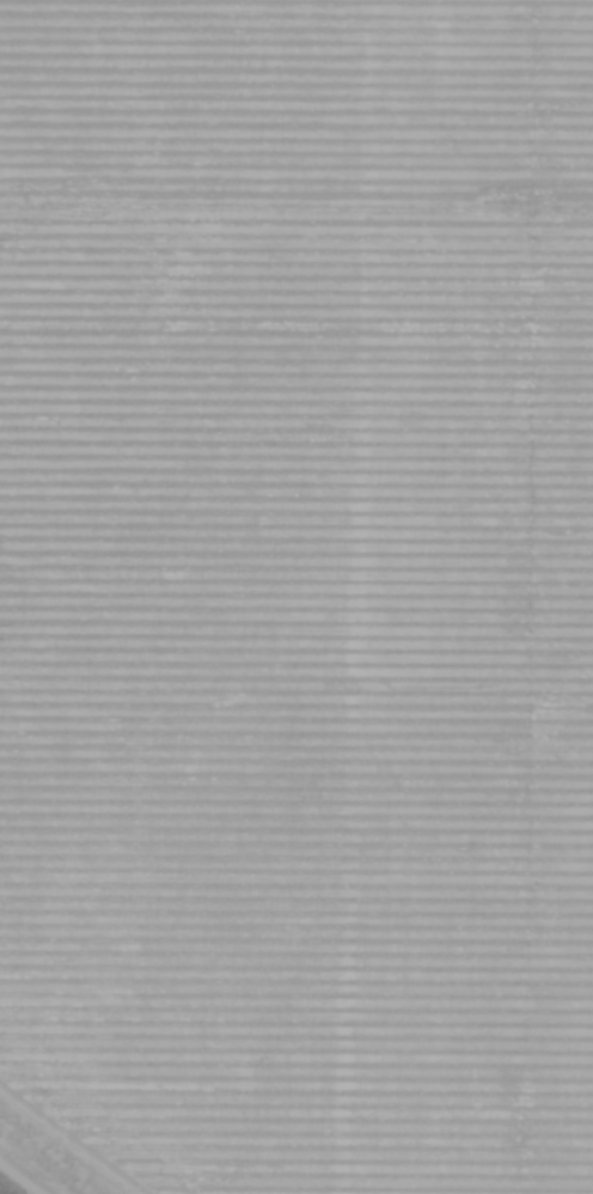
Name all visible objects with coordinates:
crop: (298, 593)

